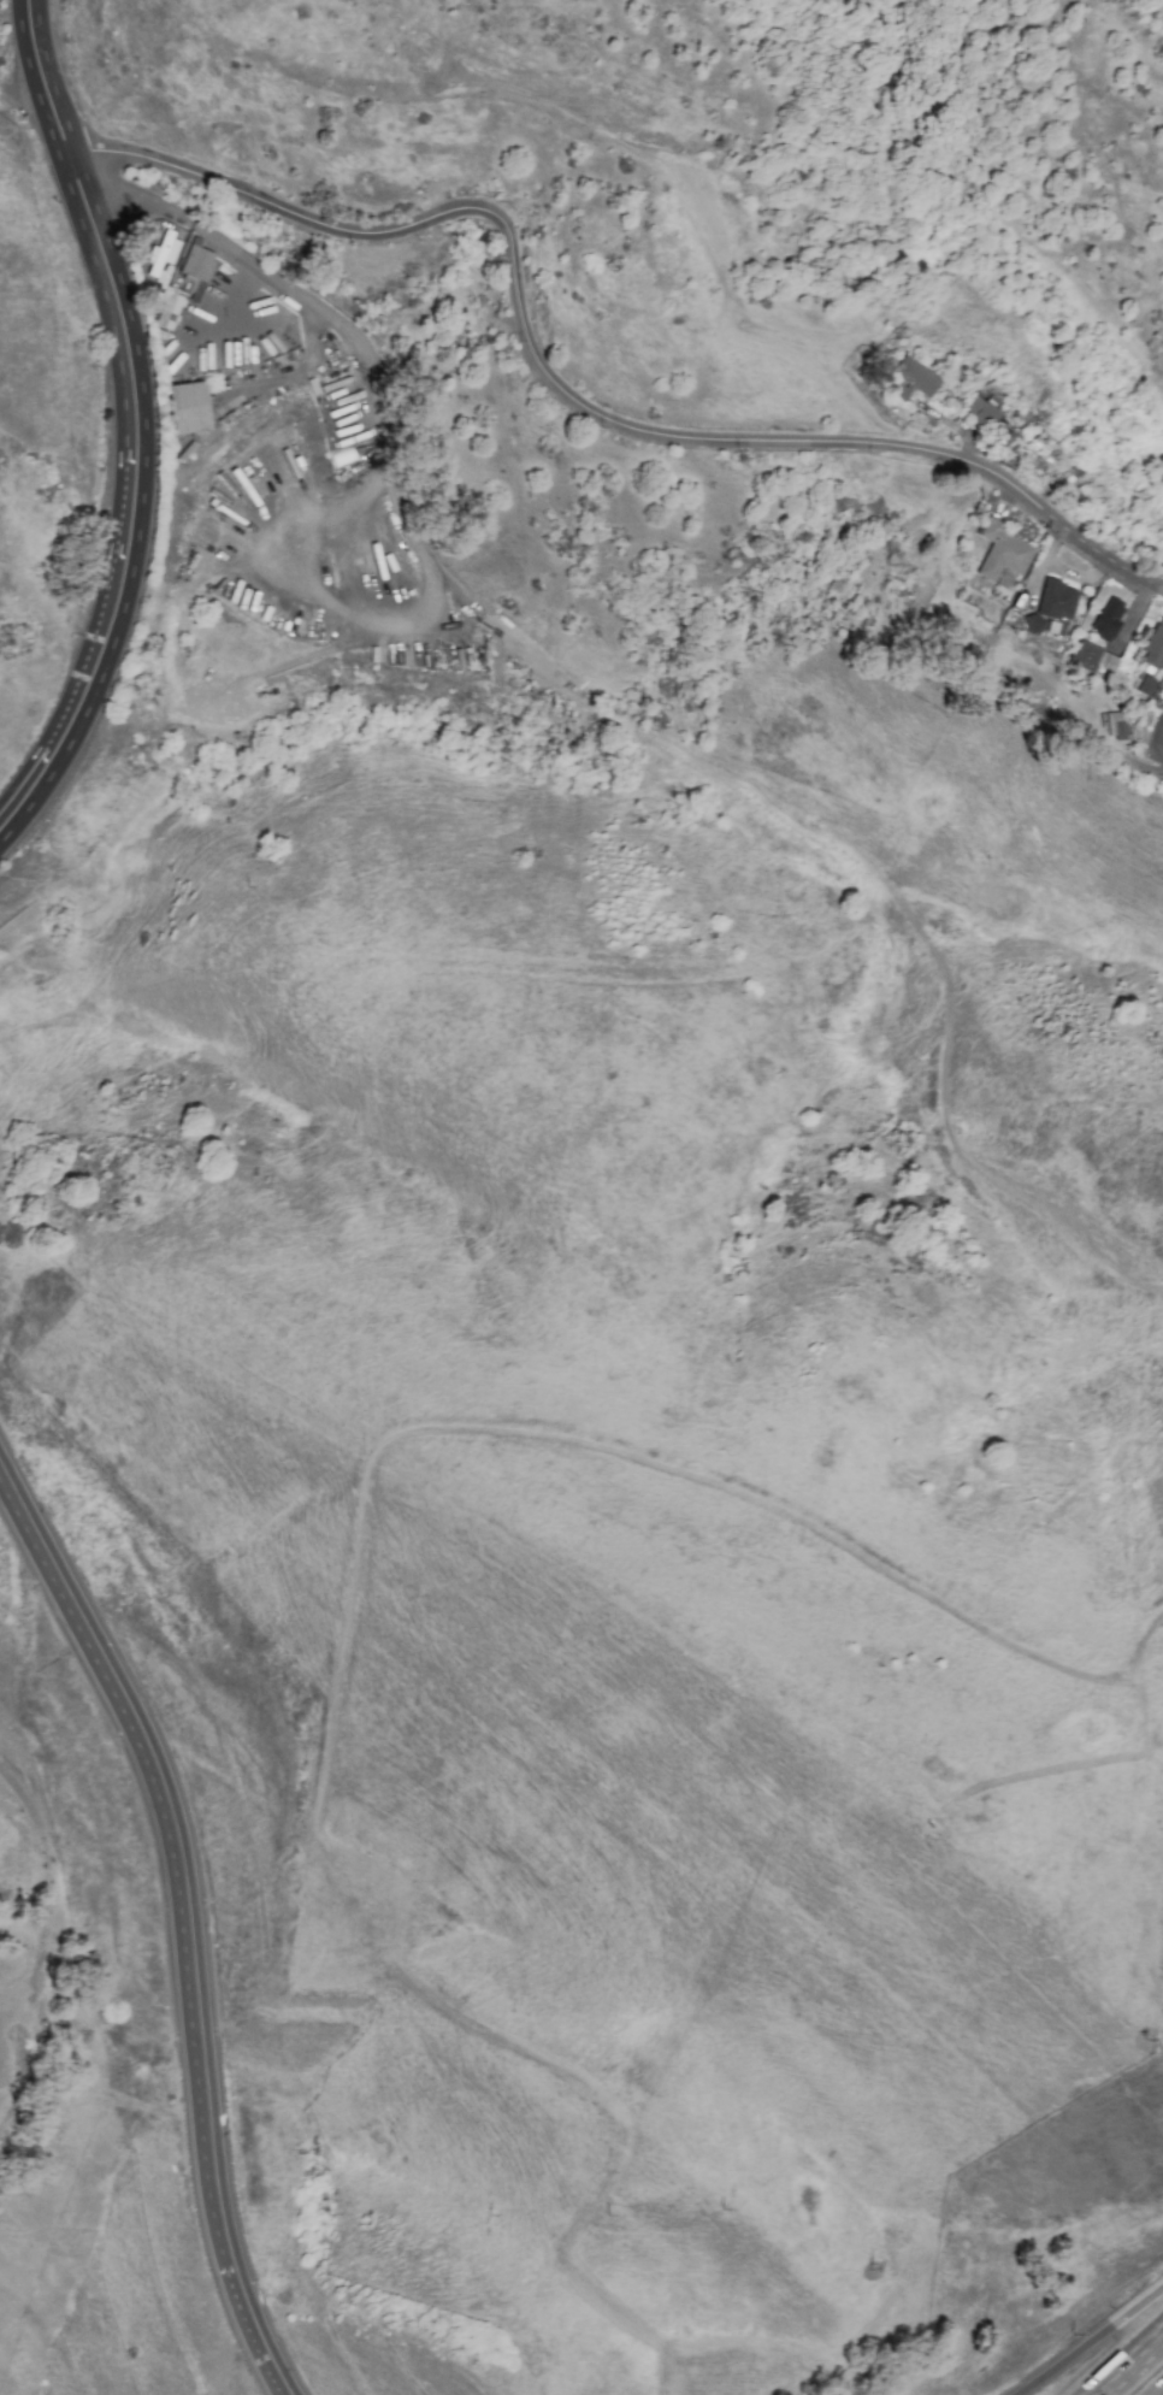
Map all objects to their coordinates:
road: (26, 101)
road: (399, 102)
road: (88, 213)
road: (710, 253)
building: (196, 271)
road: (229, 303)
building: (170, 308)
road: (325, 315)
building: (913, 379)
road: (565, 393)
building: (188, 407)
building: (979, 409)
building: (1000, 551)
road: (313, 592)
building: (1056, 601)
building: (1108, 619)
building: (1032, 624)
road: (106, 644)
building: (1153, 647)
building: (1094, 660)
building: (1145, 686)
building: (1116, 725)
road: (177, 1836)
road: (52, 1872)
road: (255, 2323)
road: (1093, 2347)
road: (1130, 2365)

